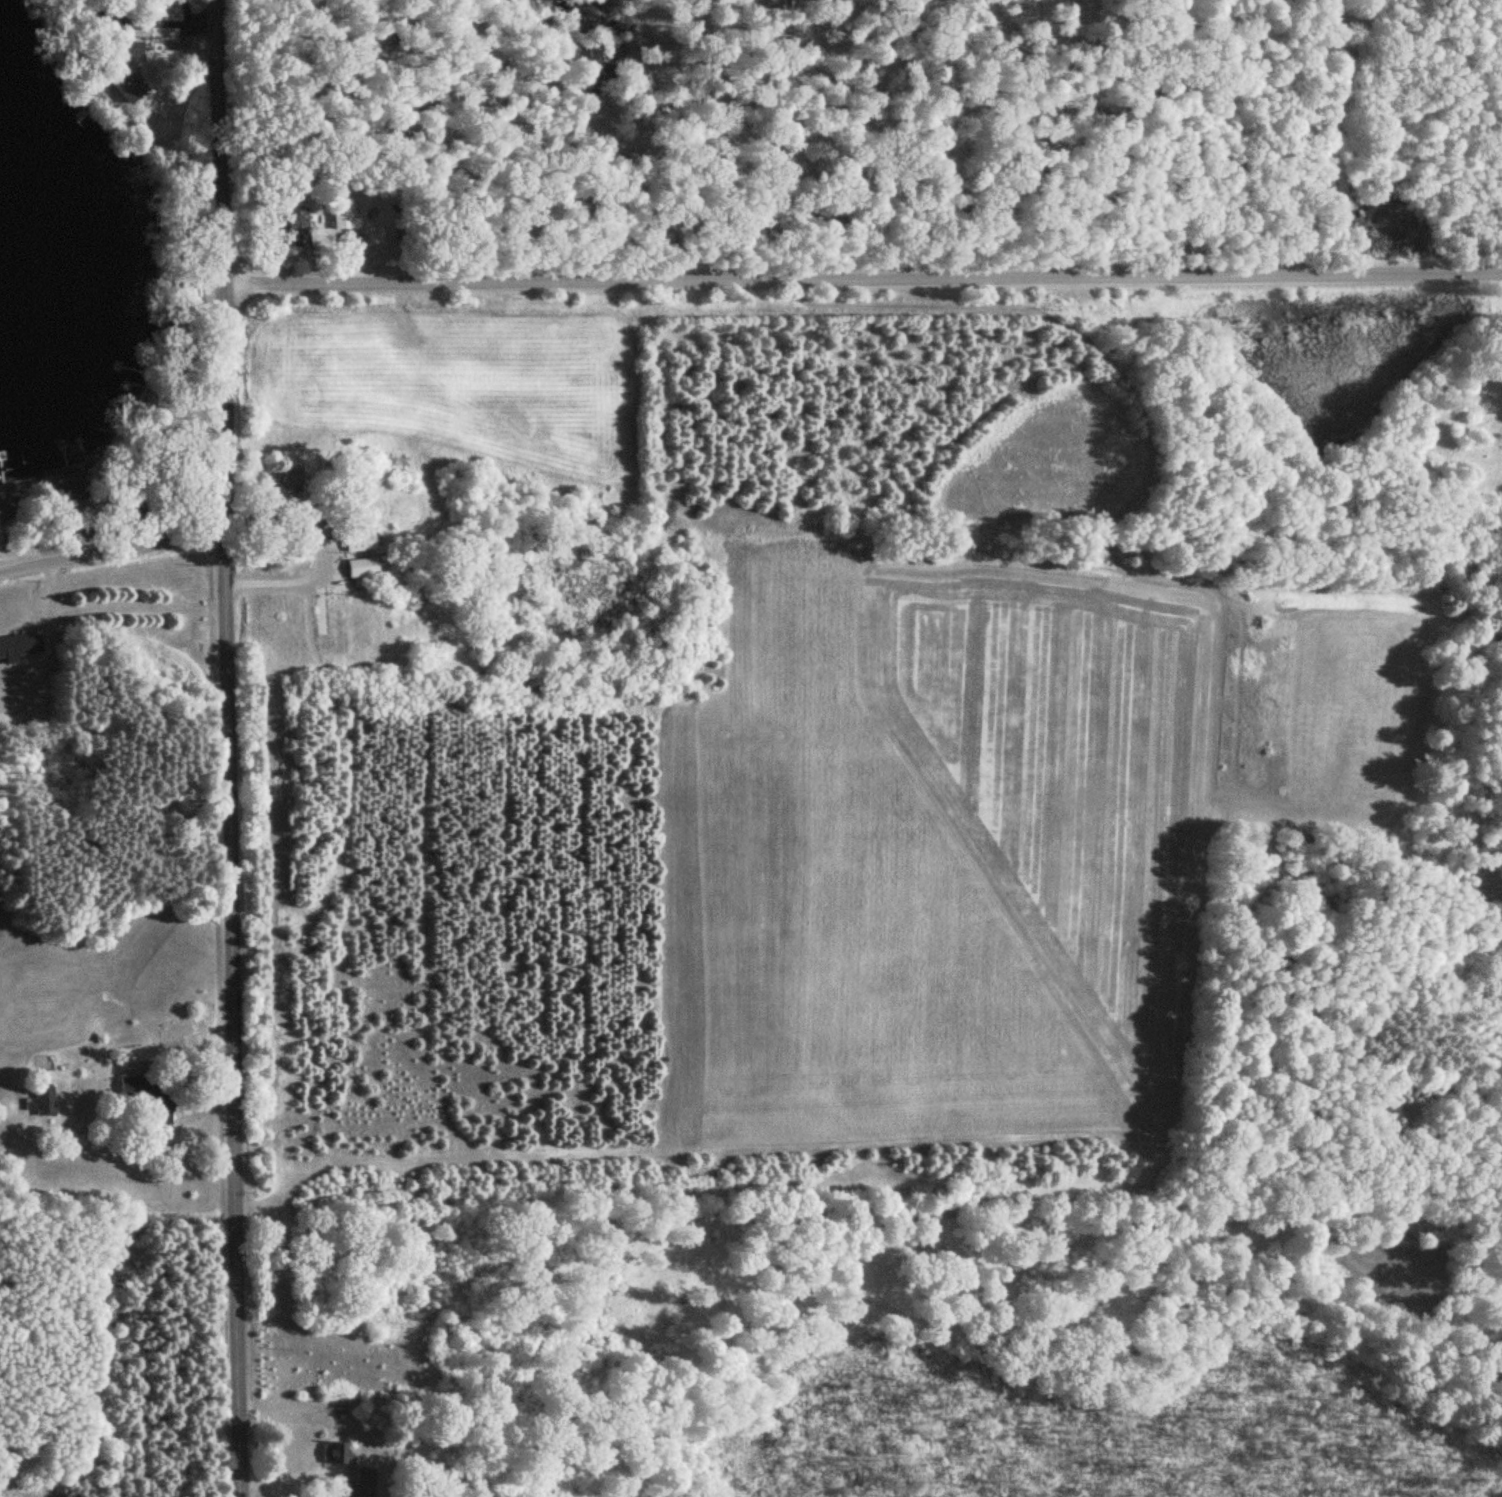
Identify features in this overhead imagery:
building: (132, 50)
building: (126, 88)
road: (1328, 145)
building: (342, 215)
building: (297, 228)
building: (373, 240)
road: (864, 278)
crop: (454, 383)
building: (380, 470)
building: (290, 476)
building: (6, 507)
building: (358, 541)
building: (299, 547)
road: (113, 550)
building: (361, 568)
road: (106, 608)
building: (321, 613)
building: (19, 646)
road: (231, 748)
crop: (923, 851)
building: (42, 1103)
building: (156, 1111)
road: (432, 1154)
building: (338, 1455)
road: (295, 1480)
building: (365, 1483)

